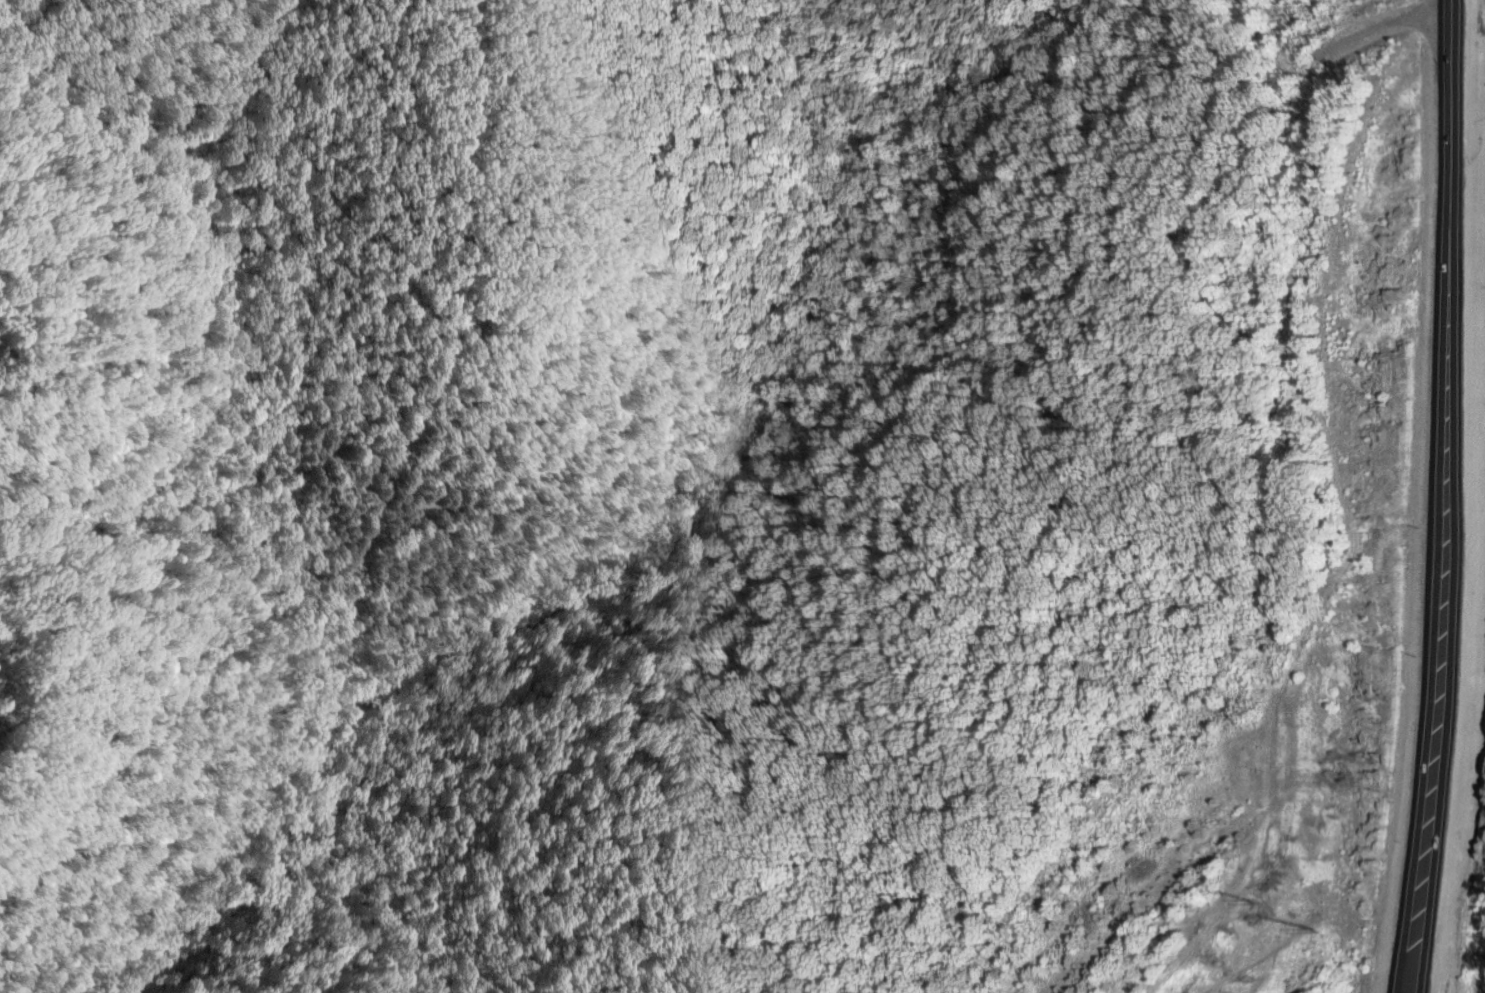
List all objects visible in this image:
road: (1425, 496)
power tower: (1246, 903)
power tower: (1302, 931)

